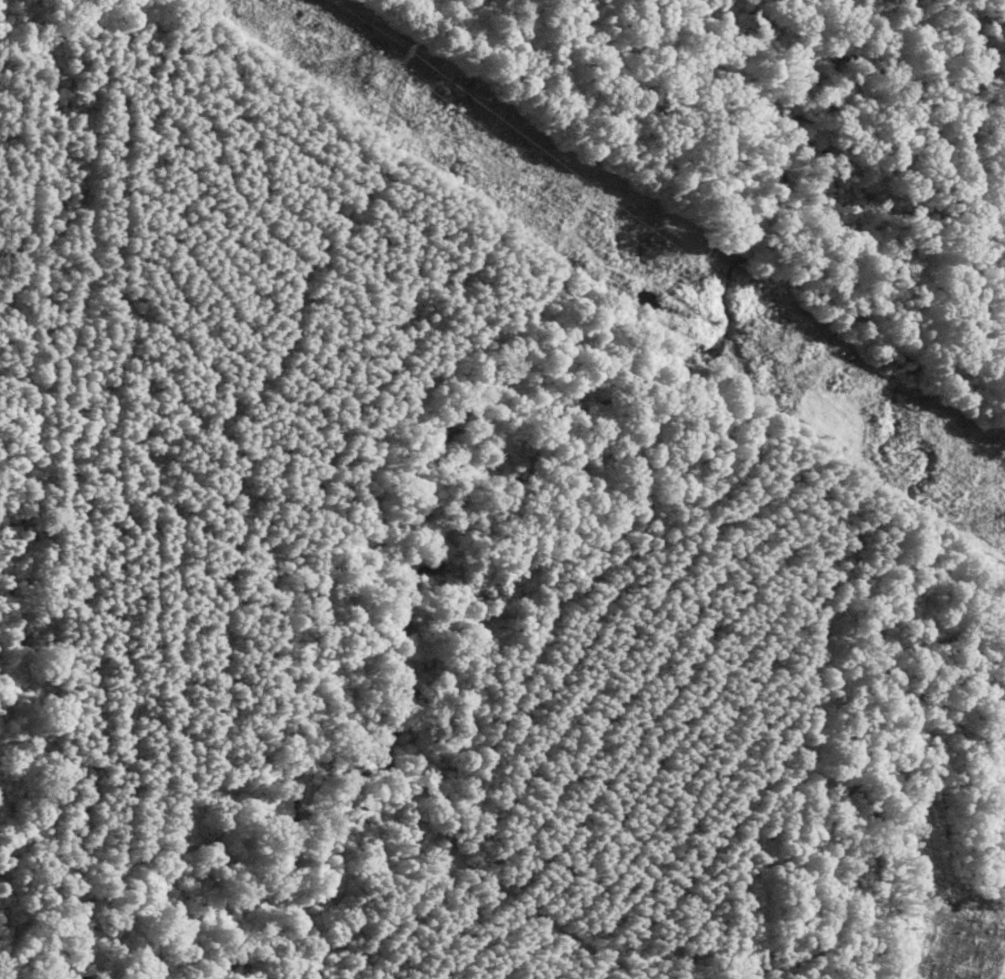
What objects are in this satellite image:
power tower: (357, 65)

